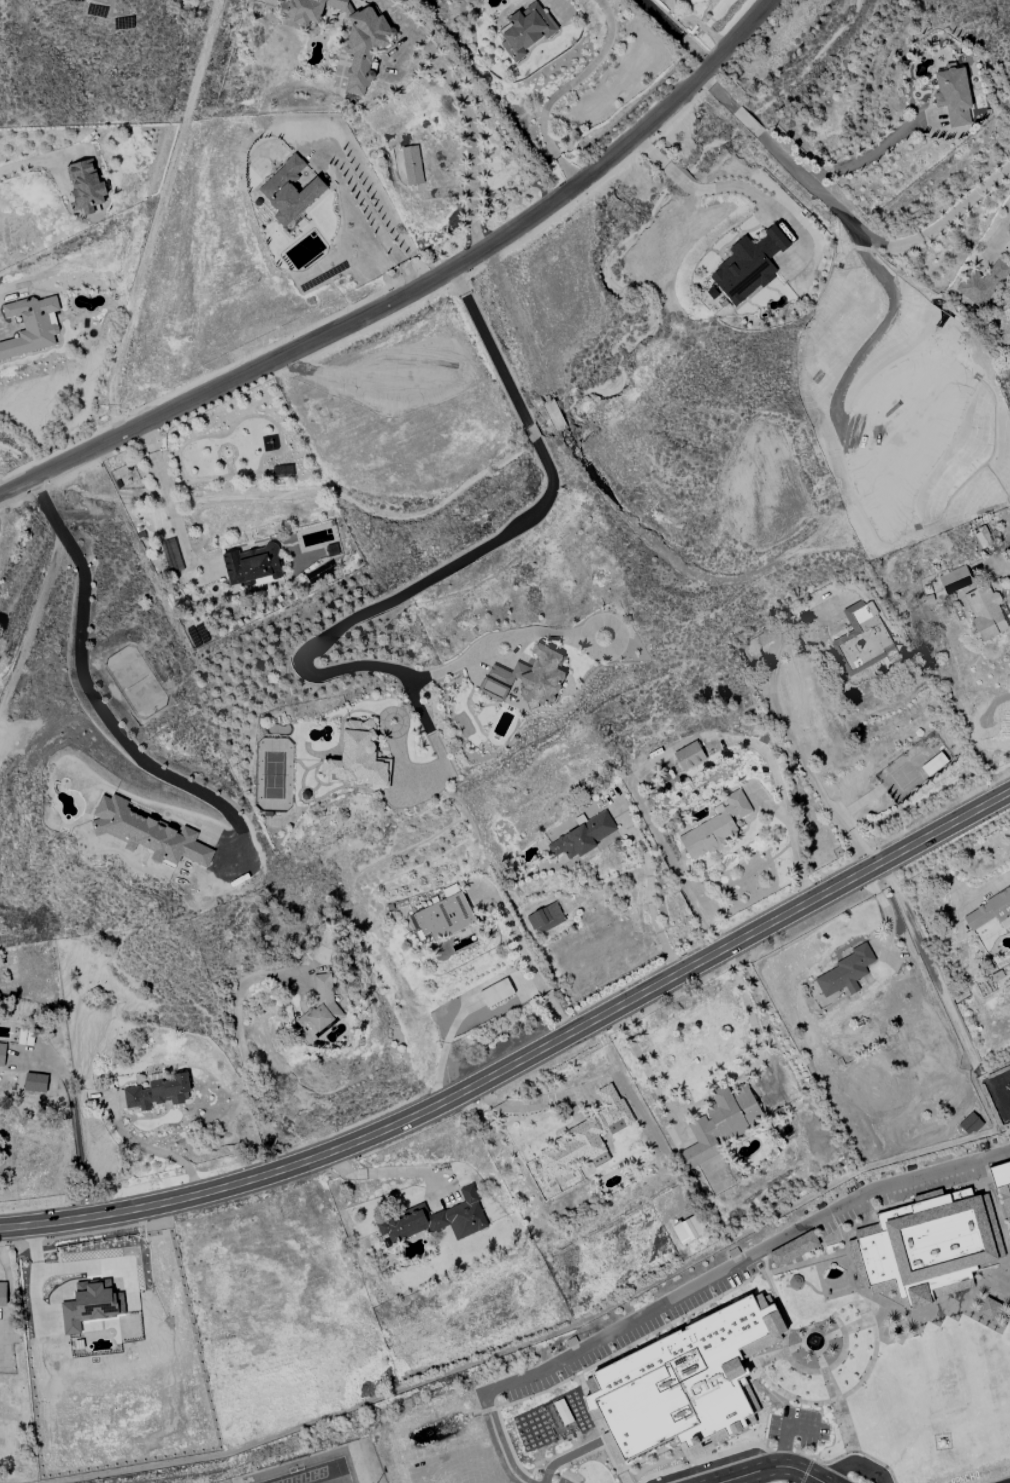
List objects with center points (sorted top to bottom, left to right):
building: (691, 1)
building: (526, 31)
road: (677, 32)
building: (369, 38)
road: (567, 90)
road: (717, 92)
building: (953, 95)
road: (467, 112)
road: (746, 122)
road: (873, 153)
road: (23, 165)
building: (412, 165)
building: (85, 186)
road: (713, 188)
building: (289, 190)
road: (369, 211)
road: (876, 241)
building: (748, 266)
building: (983, 283)
road: (414, 289)
building: (31, 326)
road: (166, 492)
building: (982, 537)
building: (171, 556)
road: (459, 563)
building: (252, 566)
road: (1009, 567)
building: (954, 580)
building: (985, 612)
building: (863, 639)
road: (438, 671)
road: (84, 677)
building: (527, 678)
building: (356, 756)
building: (689, 756)
building: (933, 765)
building: (716, 827)
building: (147, 833)
building: (582, 837)
road: (793, 843)
road: (650, 893)
building: (990, 911)
building: (445, 915)
building: (544, 918)
road: (528, 961)
road: (932, 971)
building: (845, 972)
building: (496, 992)
building: (319, 1006)
building: (2, 1054)
road: (247, 1059)
road: (525, 1066)
building: (35, 1082)
building: (158, 1092)
building: (721, 1122)
building: (970, 1124)
road: (75, 1127)
building: (587, 1136)
road: (151, 1149)
road: (394, 1174)
building: (1002, 1186)
road: (956, 1189)
road: (894, 1206)
road: (826, 1215)
building: (437, 1219)
road: (863, 1227)
building: (688, 1229)
building: (927, 1247)
building: (793, 1250)
road: (809, 1262)
road: (36, 1272)
building: (744, 1275)
building: (795, 1282)
road: (784, 1286)
road: (796, 1290)
road: (814, 1291)
building: (3, 1294)
building: (90, 1304)
building: (989, 1309)
building: (769, 1317)
building: (736, 1326)
building: (828, 1338)
building: (657, 1355)
building: (624, 1371)
building: (697, 1373)
road: (528, 1376)
building: (792, 1384)
building: (554, 1401)
building: (724, 1407)
building: (644, 1410)
building: (569, 1432)
road: (785, 1433)
building: (580, 1456)
road: (773, 1468)
park: (313, 1470)
building: (589, 1473)

